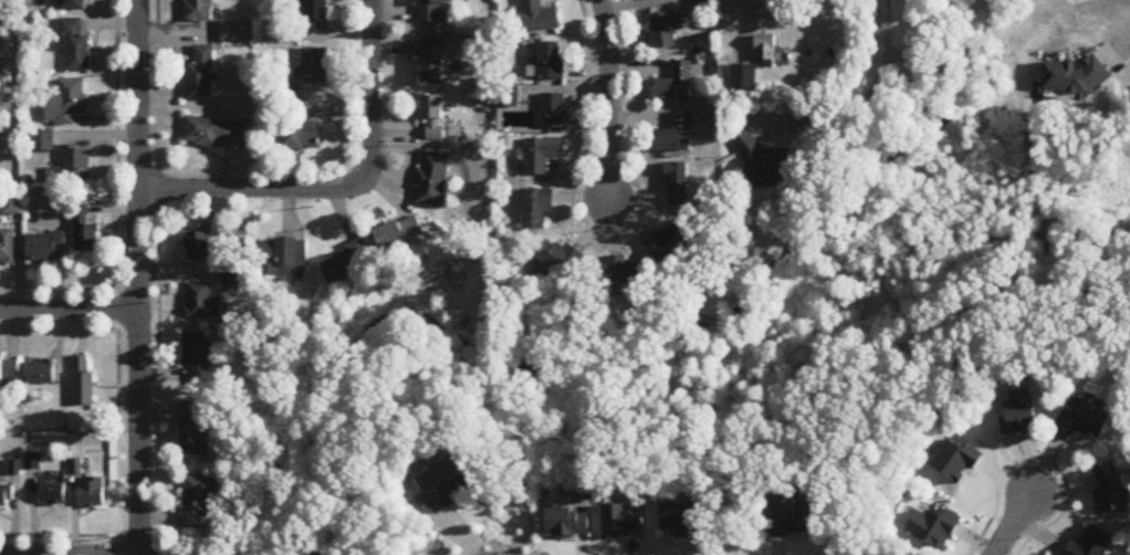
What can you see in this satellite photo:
building: (72, 4)
building: (199, 11)
road: (349, 12)
road: (156, 14)
building: (540, 17)
building: (315, 18)
road: (344, 24)
road: (734, 24)
road: (177, 29)
building: (663, 31)
building: (237, 32)
road: (1118, 45)
building: (75, 48)
building: (767, 50)
building: (432, 61)
building: (552, 61)
building: (316, 66)
building: (201, 75)
building: (1077, 76)
building: (745, 77)
building: (676, 84)
road: (610, 96)
building: (67, 102)
road: (864, 104)
building: (553, 112)
building: (433, 117)
building: (212, 134)
building: (302, 135)
building: (676, 135)
building: (542, 156)
building: (764, 164)
building: (72, 168)
building: (432, 180)
road: (343, 189)
building: (12, 206)
building: (538, 208)
road: (115, 214)
building: (85, 232)
building: (401, 233)
building: (672, 242)
building: (7, 247)
building: (199, 247)
building: (44, 248)
building: (292, 256)
building: (561, 260)
building: (354, 262)
building: (619, 273)
road: (136, 277)
road: (57, 286)
building: (202, 302)
road: (67, 306)
road: (157, 318)
road: (57, 327)
building: (200, 357)
building: (41, 373)
building: (9, 374)
building: (83, 383)
building: (1087, 419)
building: (193, 428)
building: (33, 462)
building: (446, 485)
building: (93, 493)
building: (53, 494)
building: (6, 498)
building: (198, 501)
road: (1009, 525)
road: (57, 535)
road: (69, 554)

